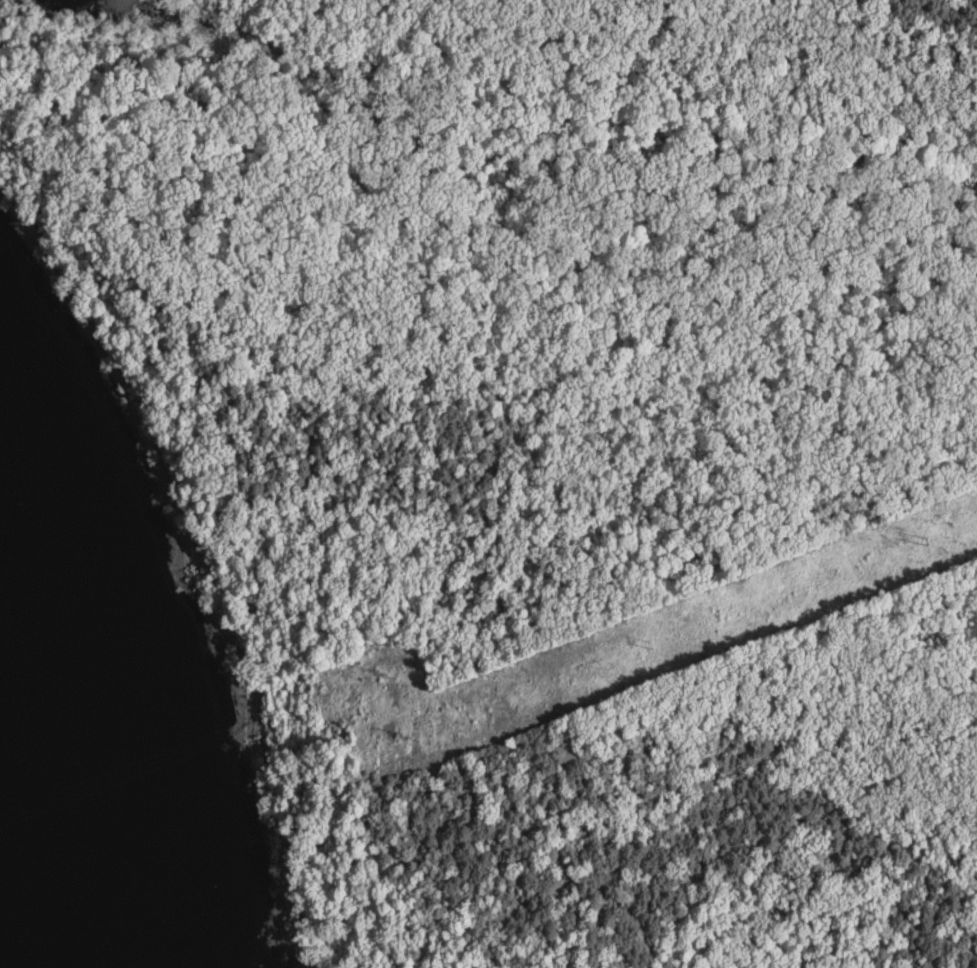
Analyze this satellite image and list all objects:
power tower: (914, 541)
power tower: (642, 644)
power tower: (379, 668)
power tower: (400, 731)

